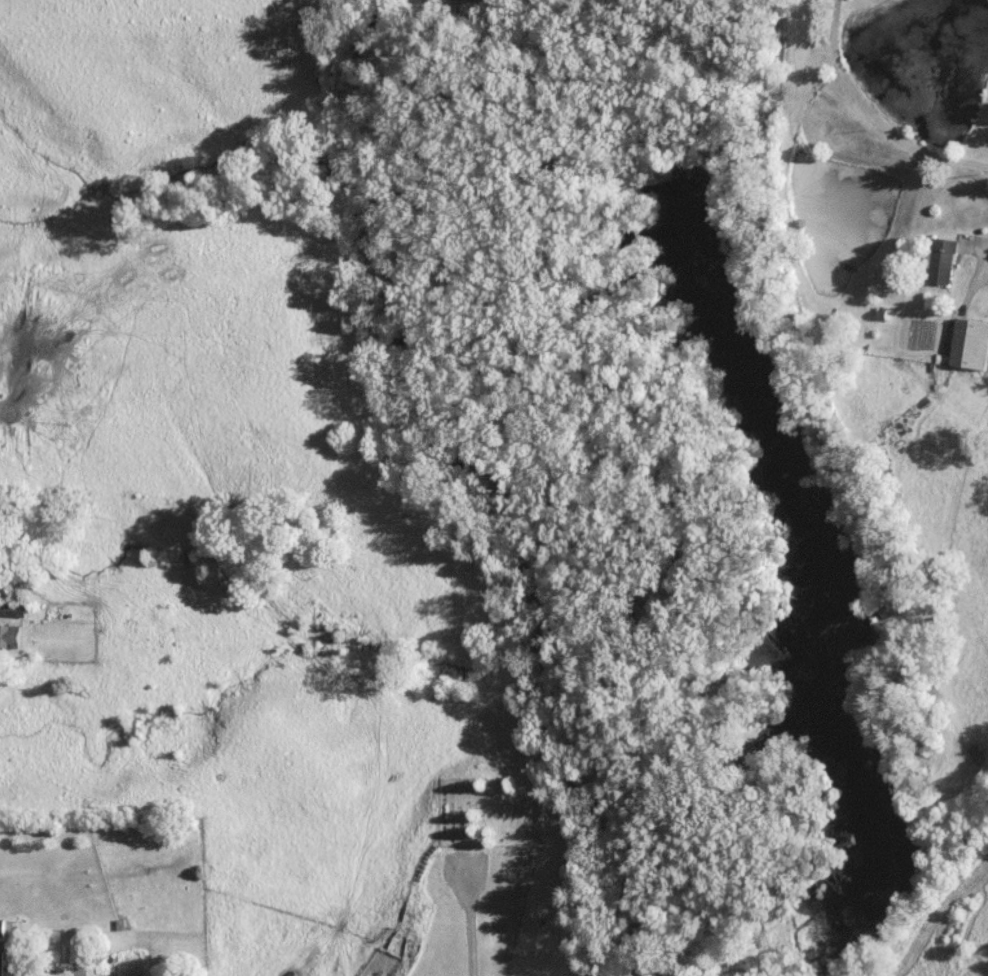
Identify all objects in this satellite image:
road: (877, 109)
road: (986, 240)
building: (942, 260)
building: (970, 343)
building: (12, 608)
building: (7, 636)
park: (491, 810)
parking lot: (465, 865)
road: (470, 924)
building: (2, 927)
building: (1, 962)

